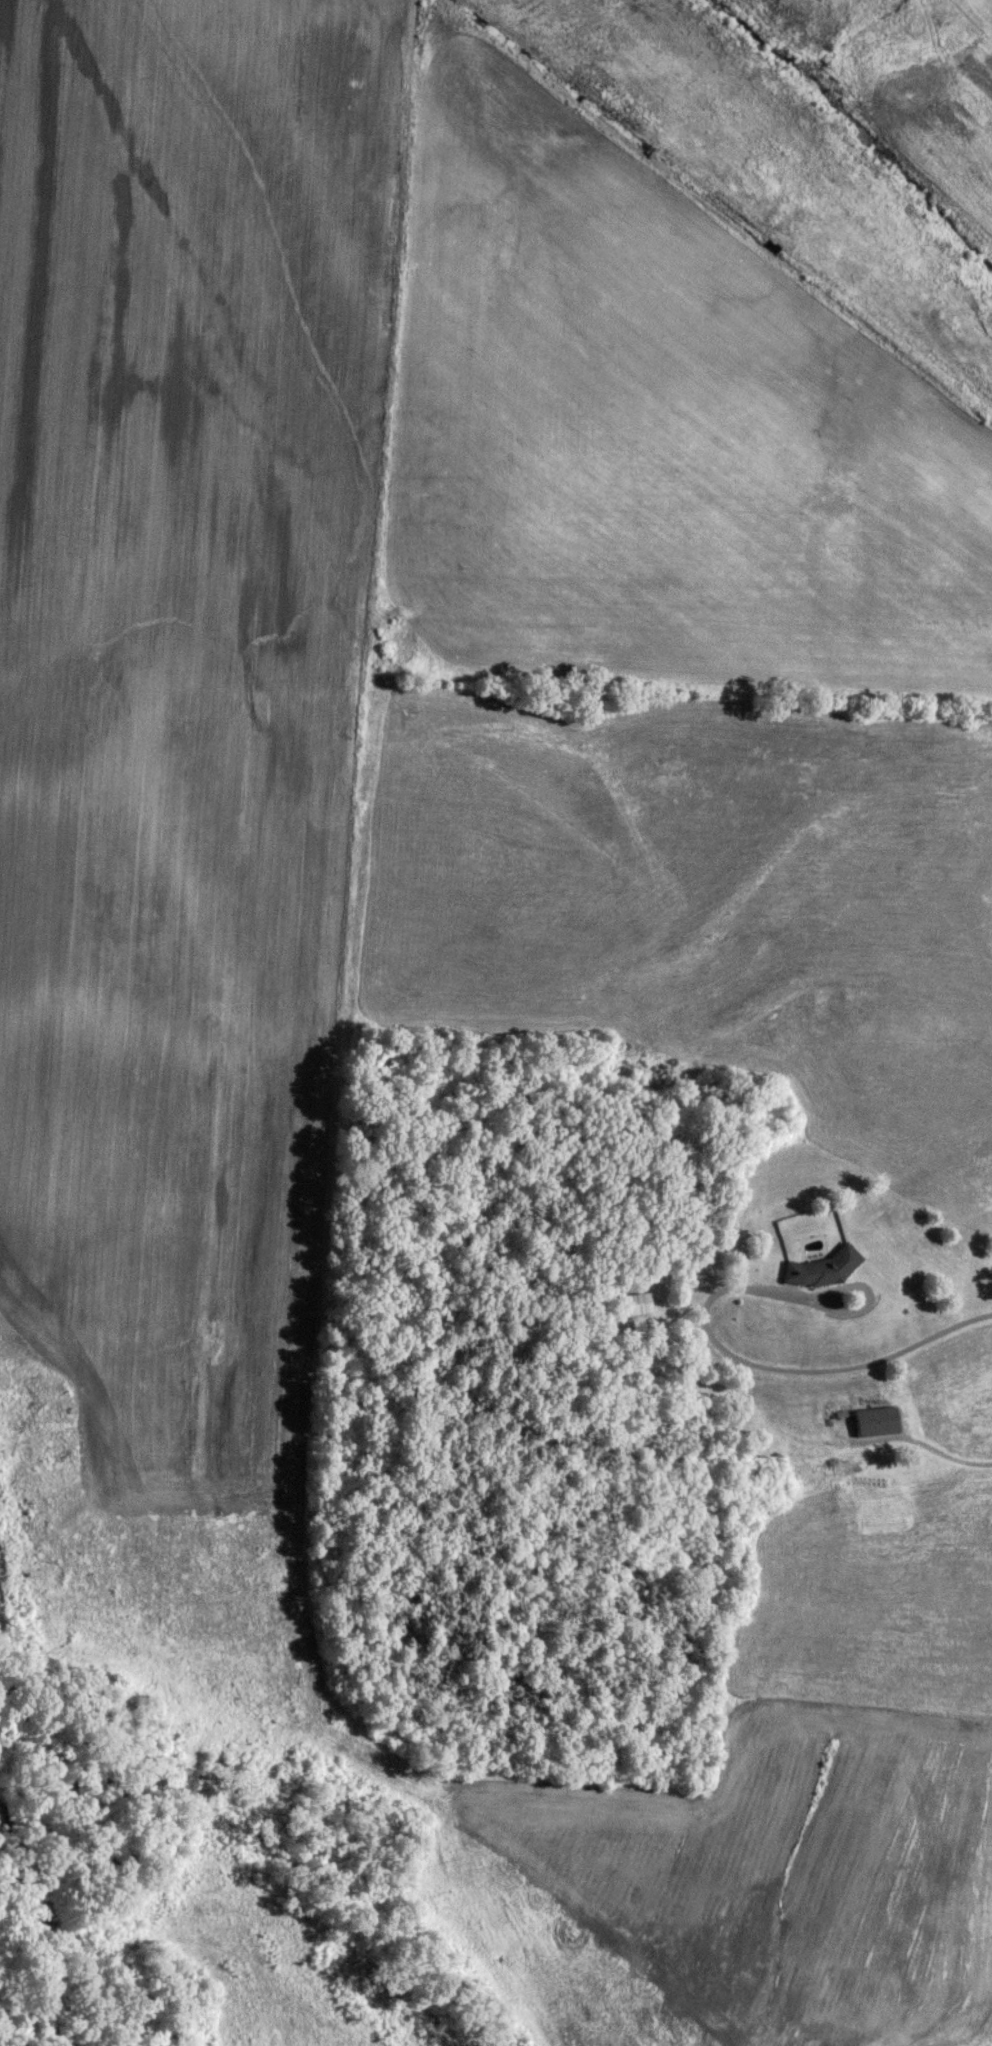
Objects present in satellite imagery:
building: (817, 1269)
road: (864, 1298)
building: (633, 1303)
road: (775, 1371)
building: (875, 1422)
road: (955, 1463)

